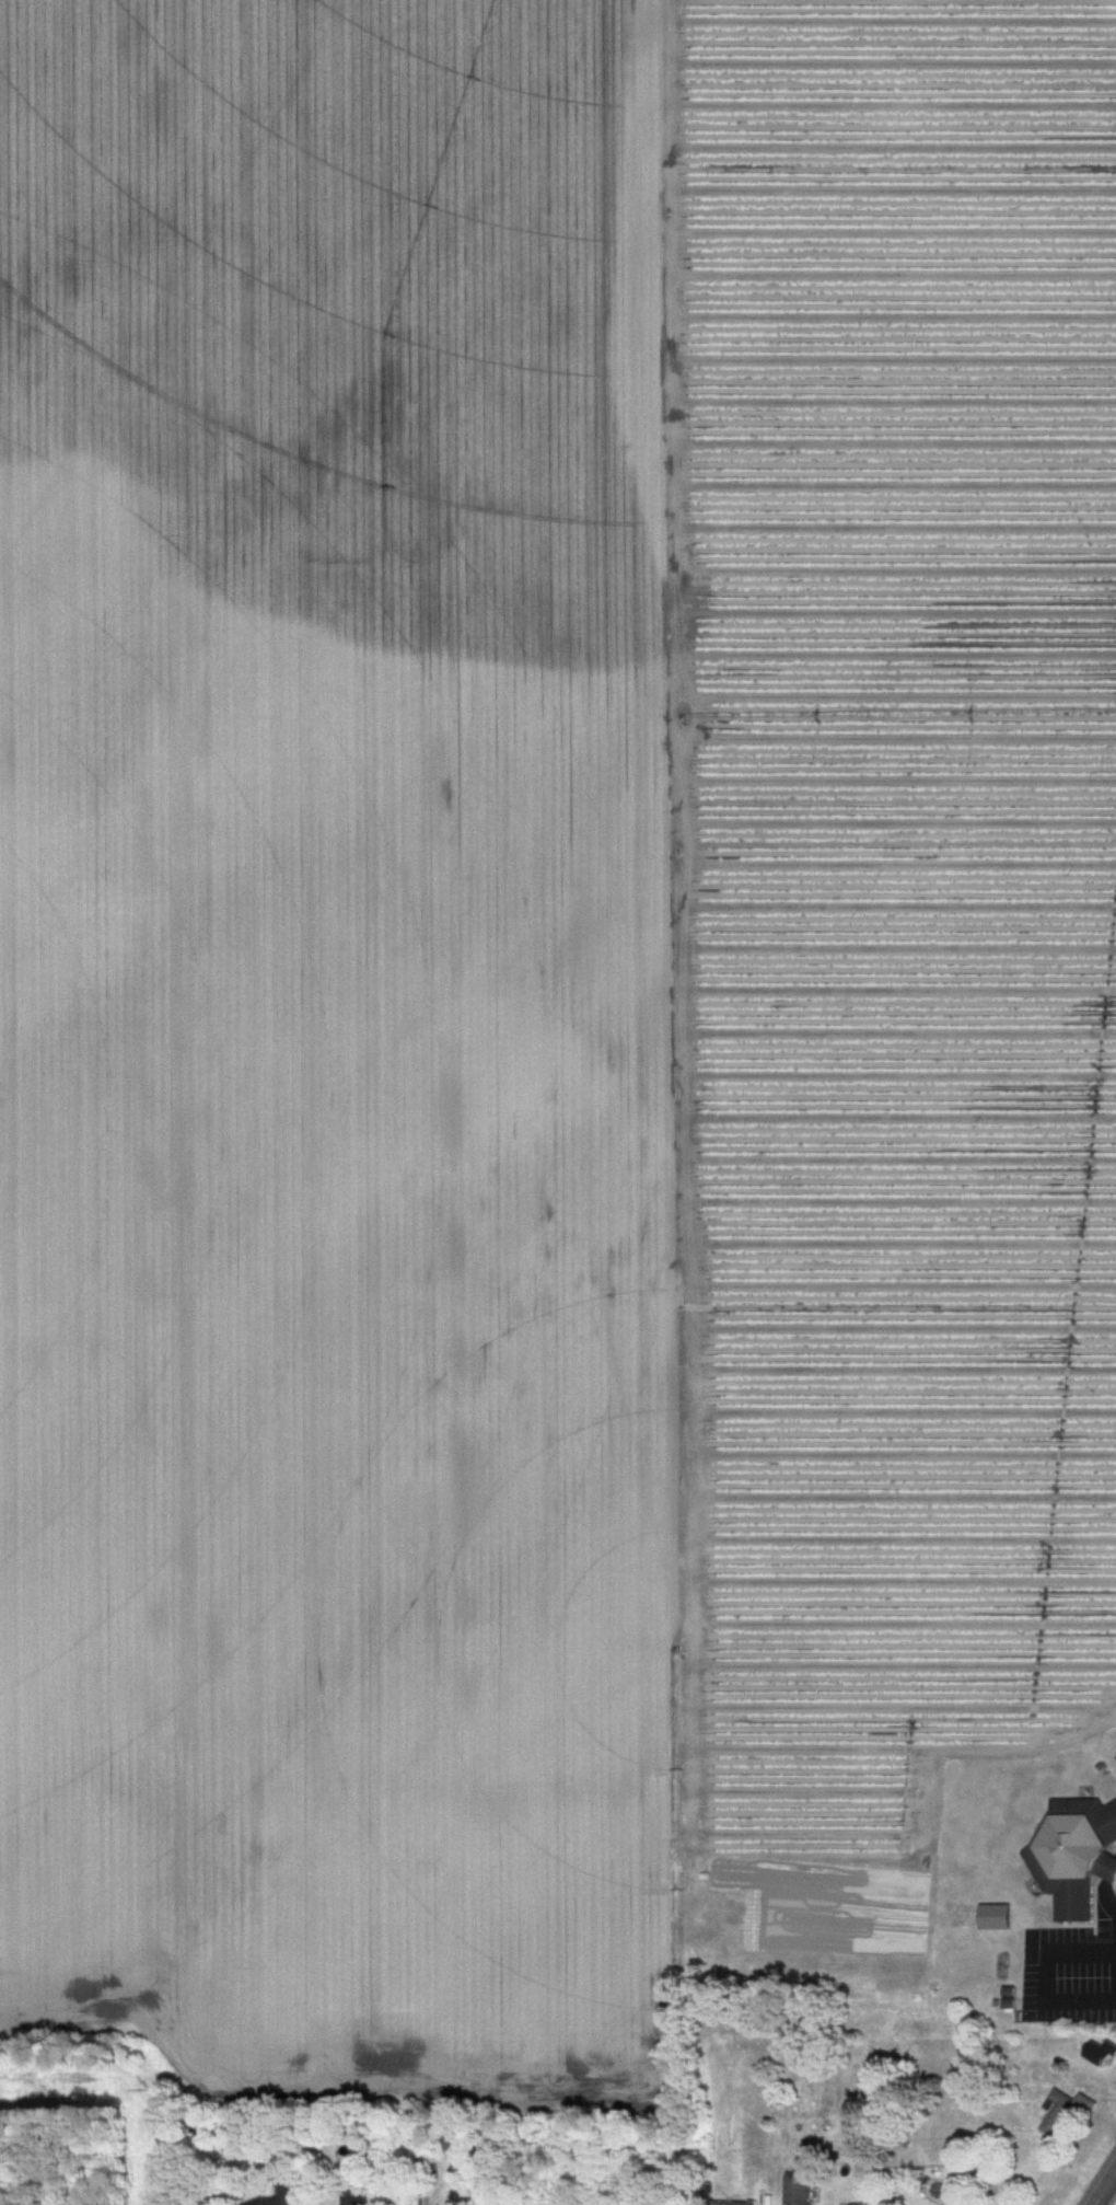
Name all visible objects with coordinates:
crop: (540, 1007)
building: (1076, 1855)
building: (1103, 2053)
building: (1060, 2114)
road: (1104, 2186)
building: (800, 2189)
building: (279, 2198)
building: (361, 2198)
building: (735, 2203)

